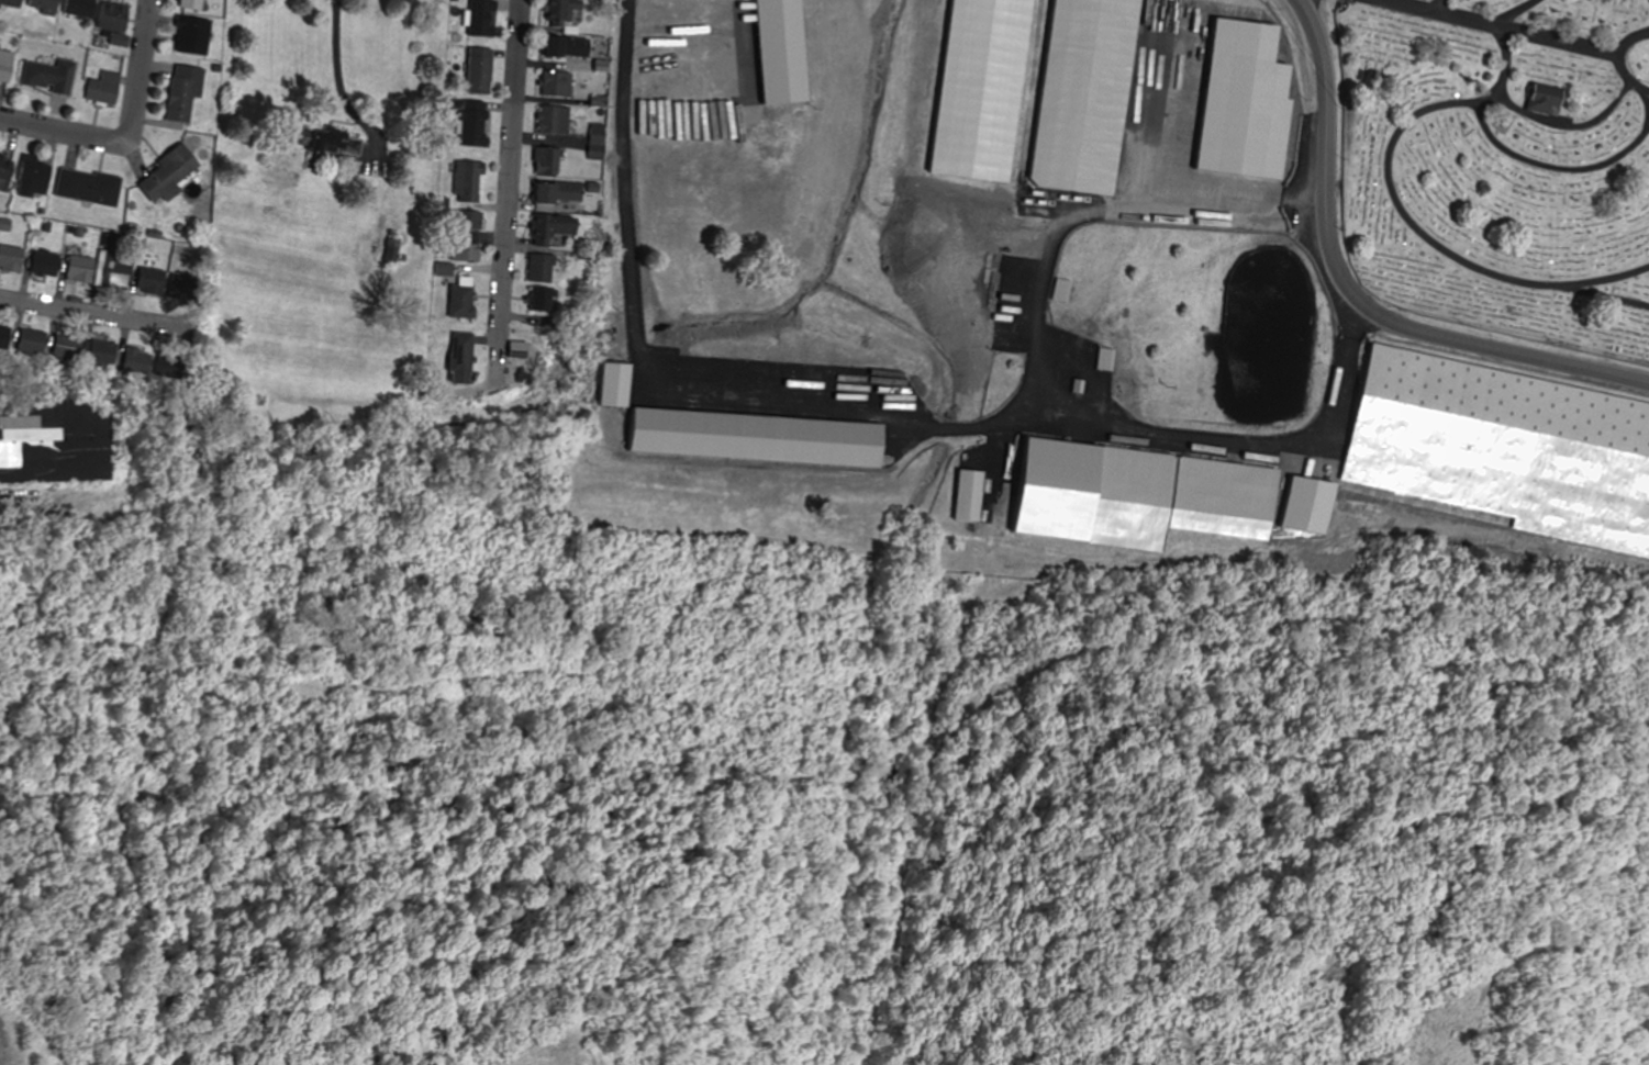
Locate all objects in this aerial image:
road: (1433, 5)
road: (1515, 13)
road: (1492, 26)
road: (1645, 34)
road: (1626, 43)
road: (337, 70)
road: (1626, 75)
building: (987, 89)
building: (1090, 94)
road: (1500, 99)
road: (1324, 110)
road: (1648, 110)
road: (1567, 125)
road: (126, 132)
park: (1501, 165)
road: (1553, 167)
road: (508, 190)
road: (1094, 213)
road: (1405, 214)
road: (1607, 294)
road: (93, 315)
road: (1461, 341)
building: (58, 440)
building: (1503, 449)
building: (1173, 498)

